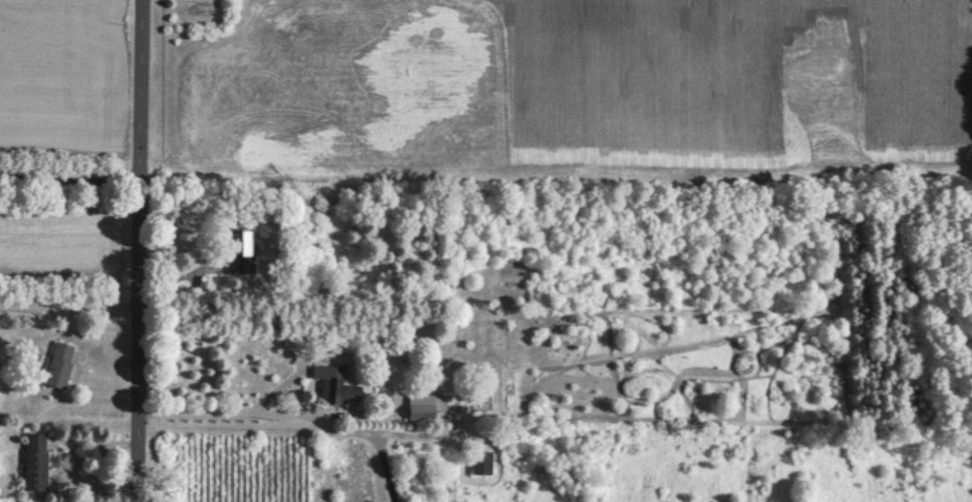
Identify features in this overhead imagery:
road: (72, 181)
road: (144, 251)
building: (242, 253)
road: (72, 306)
building: (58, 365)
building: (339, 391)
building: (421, 407)
road: (224, 414)
road: (289, 429)
building: (36, 461)
building: (482, 462)

